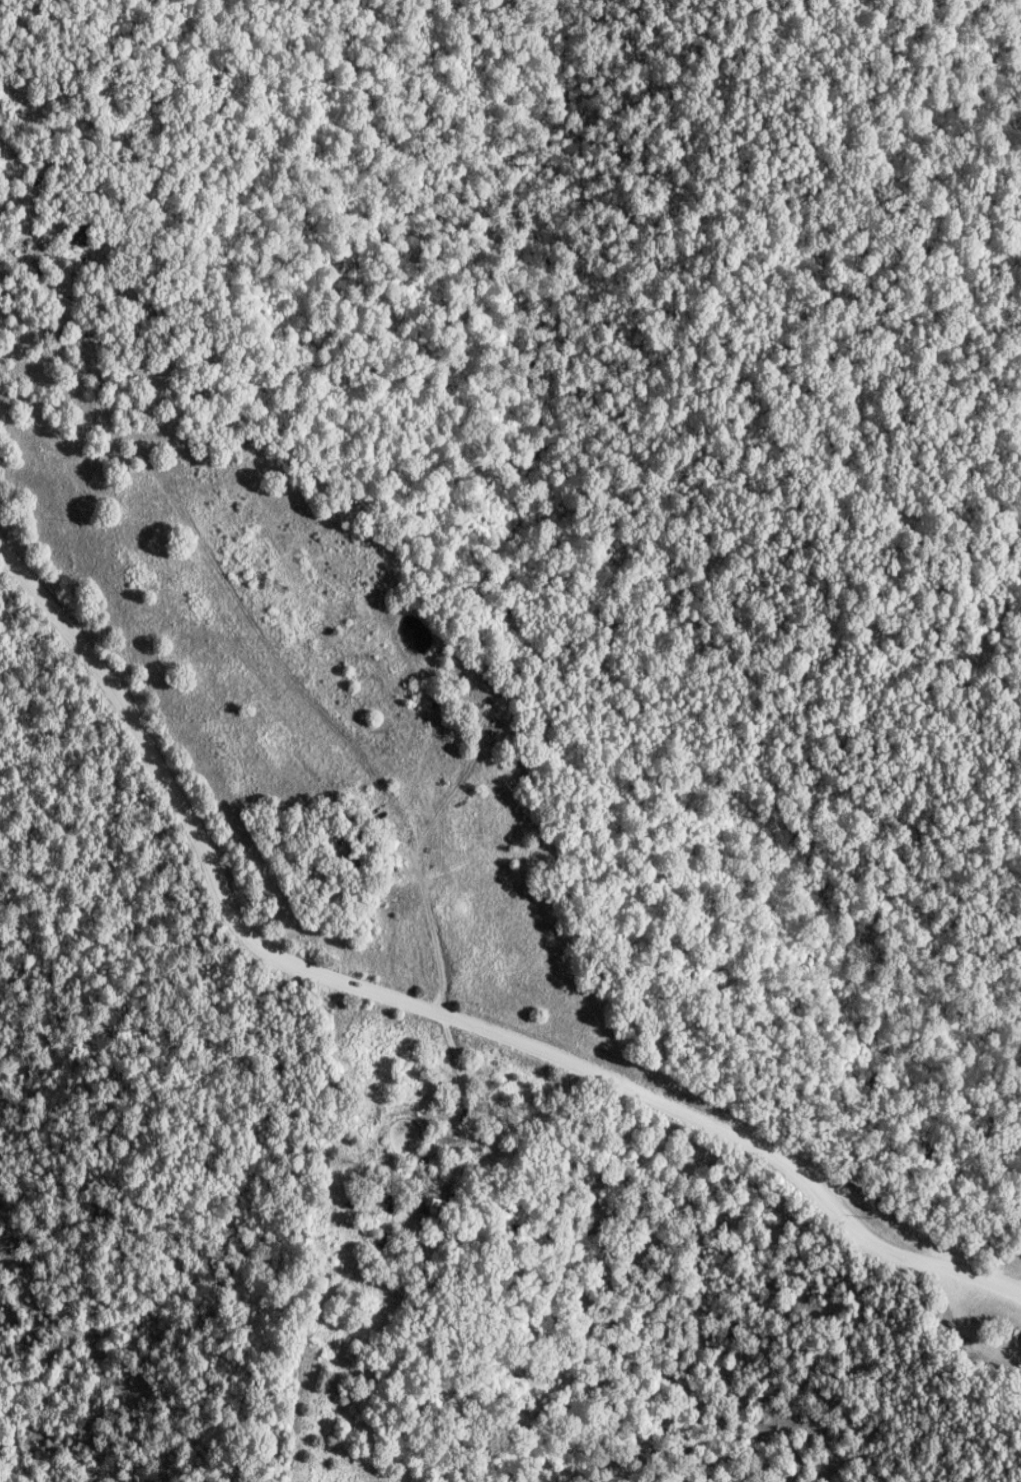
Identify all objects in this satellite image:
road: (177, 508)
road: (412, 852)
road: (428, 1008)
road: (463, 1098)

